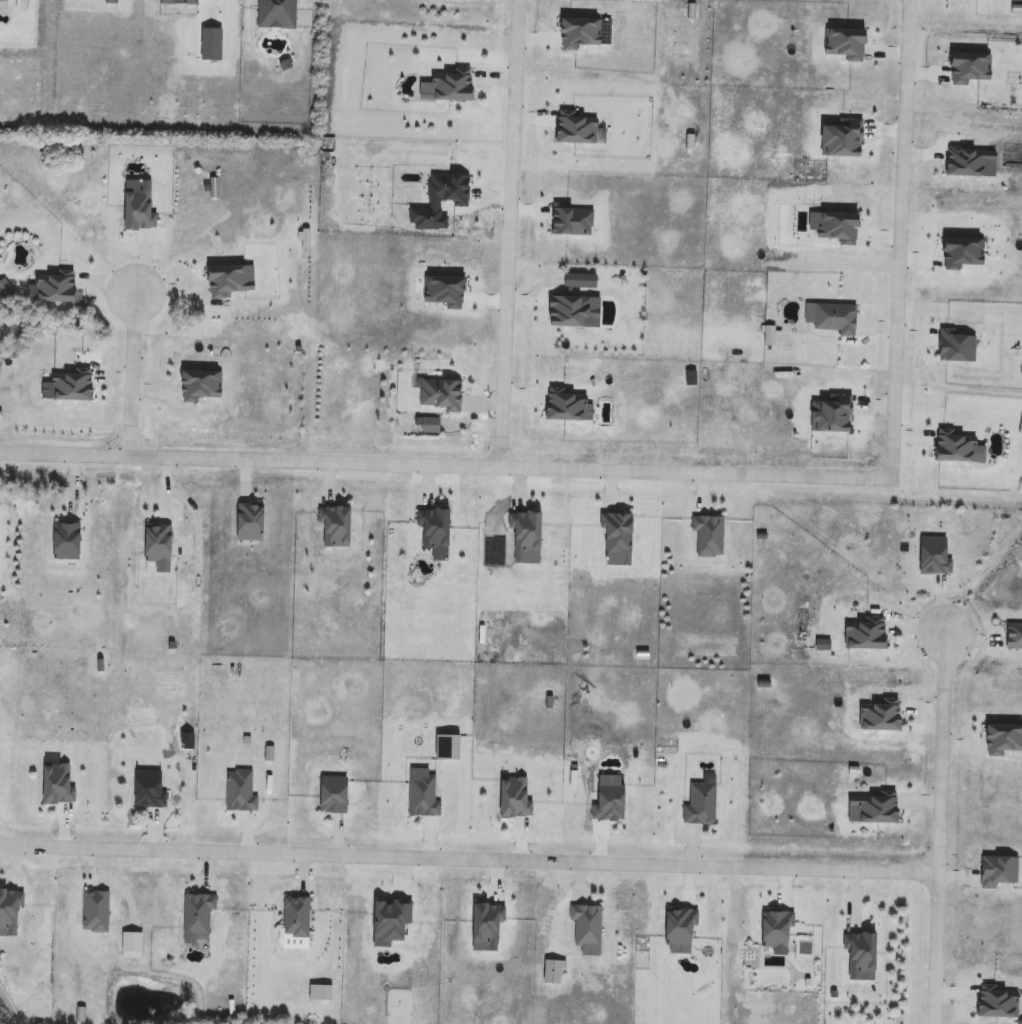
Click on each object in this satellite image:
building: (103, 1)
building: (176, 4)
building: (275, 14)
building: (212, 43)
building: (138, 215)
road: (505, 233)
road: (899, 239)
building: (228, 281)
building: (55, 290)
road: (132, 374)
building: (200, 387)
building: (69, 391)
building: (437, 396)
building: (565, 407)
building: (829, 417)
building: (424, 425)
building: (955, 448)
road: (445, 466)
building: (246, 523)
building: (332, 528)
building: (434, 536)
road: (195, 537)
building: (707, 537)
building: (525, 539)
building: (614, 539)
building: (64, 544)
building: (156, 546)
building: (931, 555)
building: (863, 636)
building: (1012, 636)
building: (878, 718)
building: (1001, 741)
building: (56, 787)
building: (145, 791)
building: (238, 792)
building: (421, 793)
building: (330, 796)
building: (512, 800)
building: (605, 800)
building: (699, 802)
building: (871, 812)
road: (936, 827)
road: (467, 852)
building: (999, 873)
building: (93, 911)
building: (9, 913)
building: (195, 917)
building: (294, 917)
building: (388, 922)
building: (485, 927)
building: (677, 928)
building: (585, 930)
building: (773, 933)
building: (857, 956)
building: (549, 973)
building: (996, 1006)

